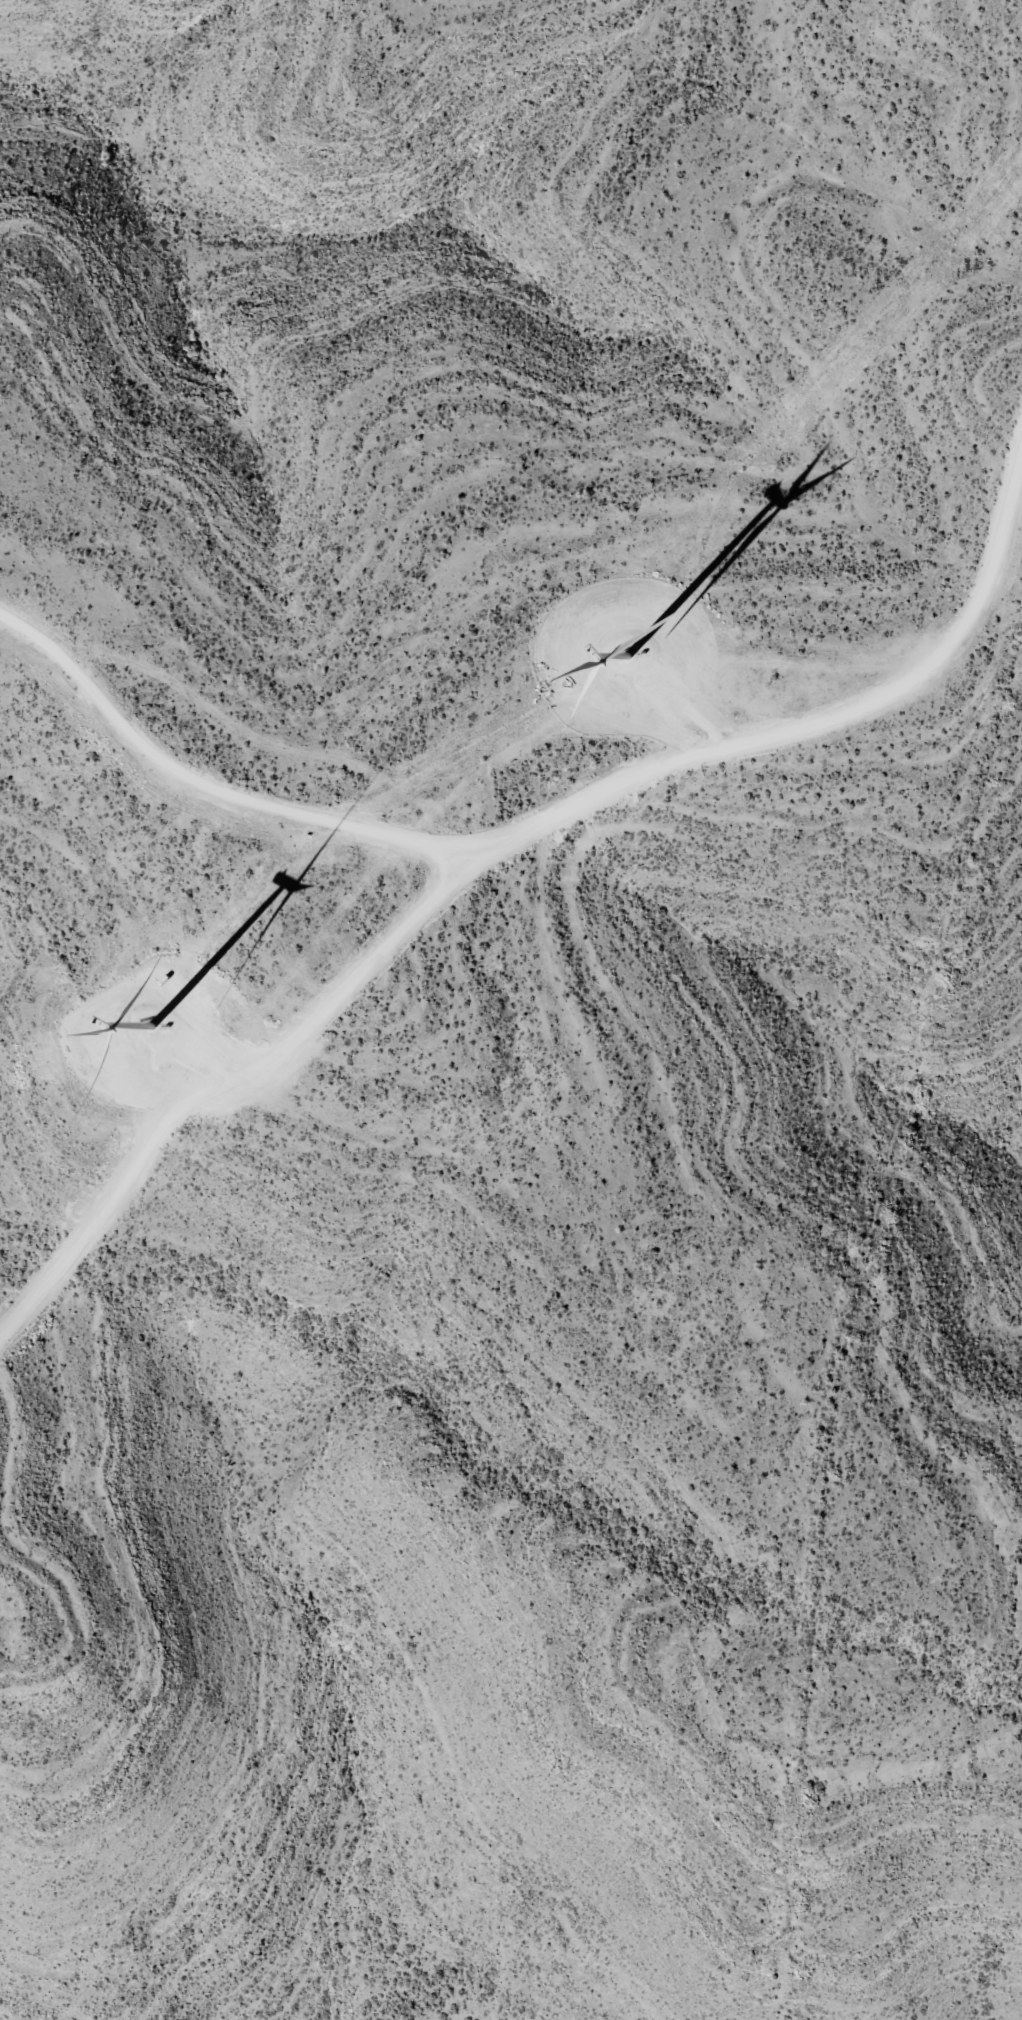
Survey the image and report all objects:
wind turbine: (625, 656)
wind turbine: (149, 1028)

